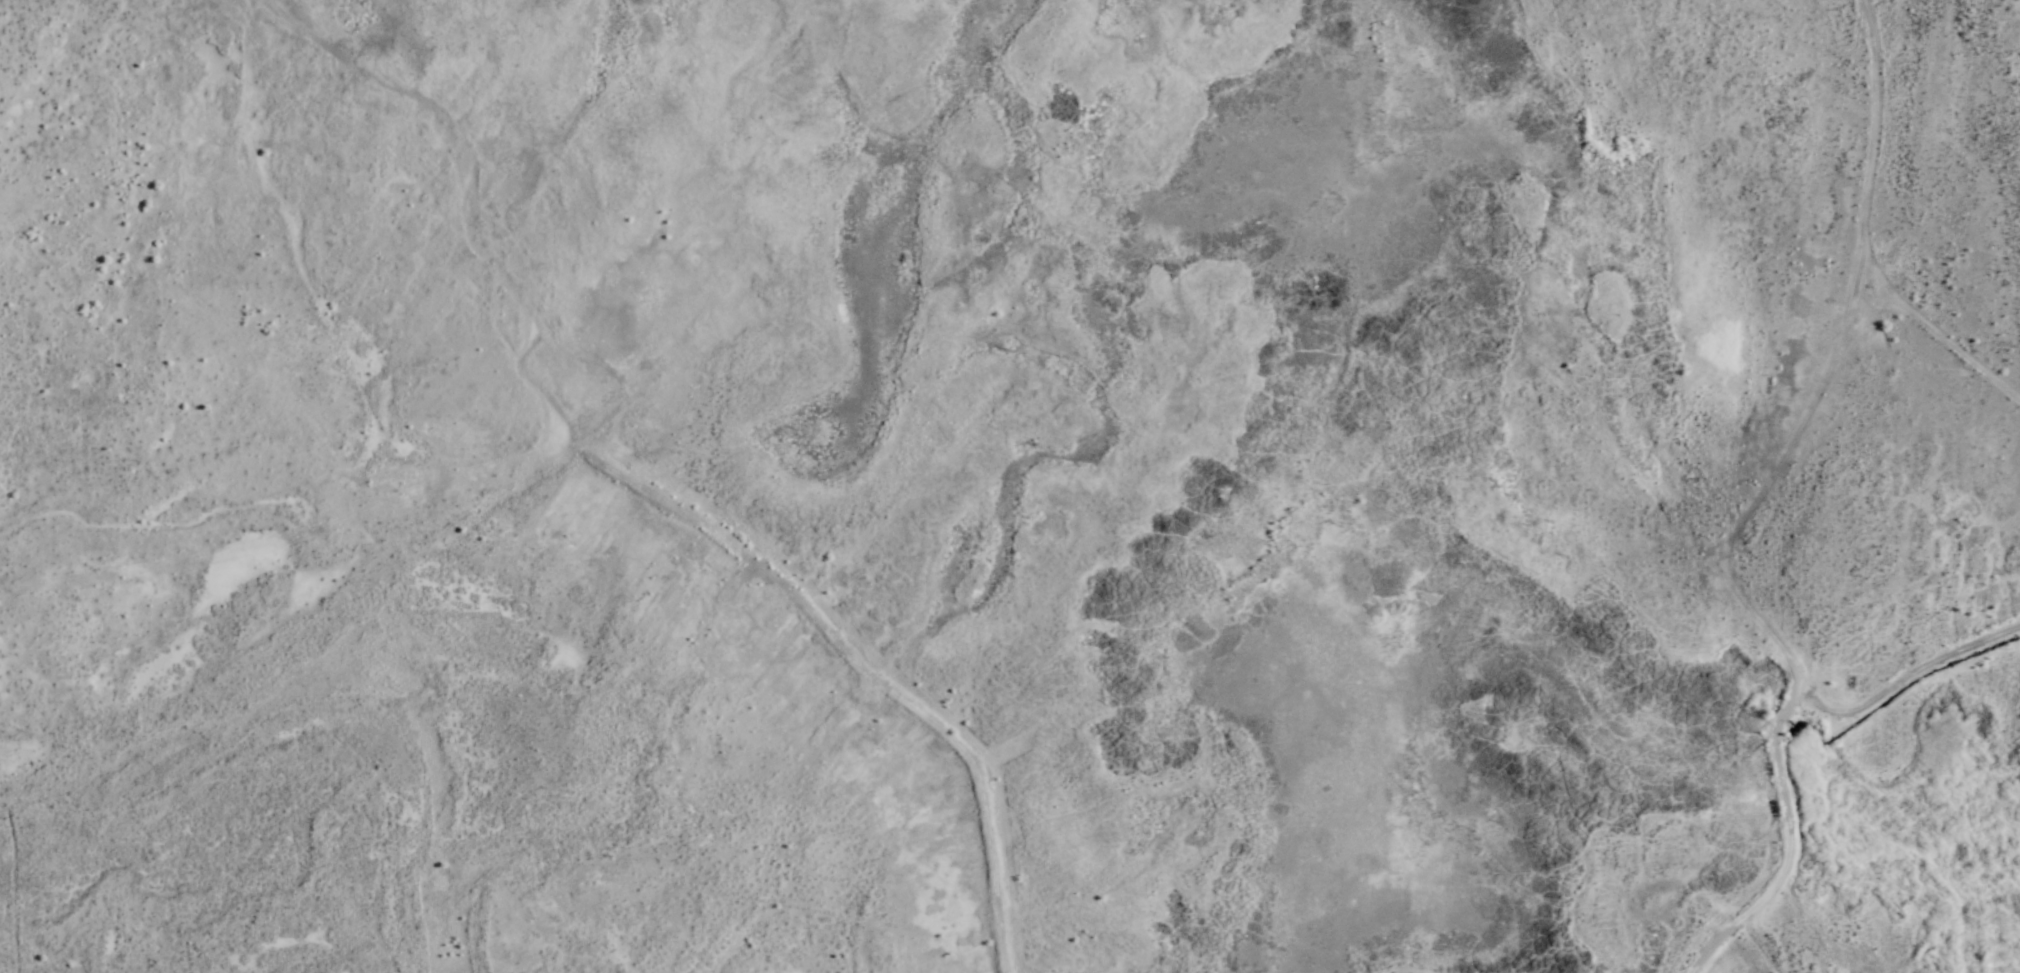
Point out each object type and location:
road: (1863, 234)
road: (1742, 597)
road: (1774, 844)

